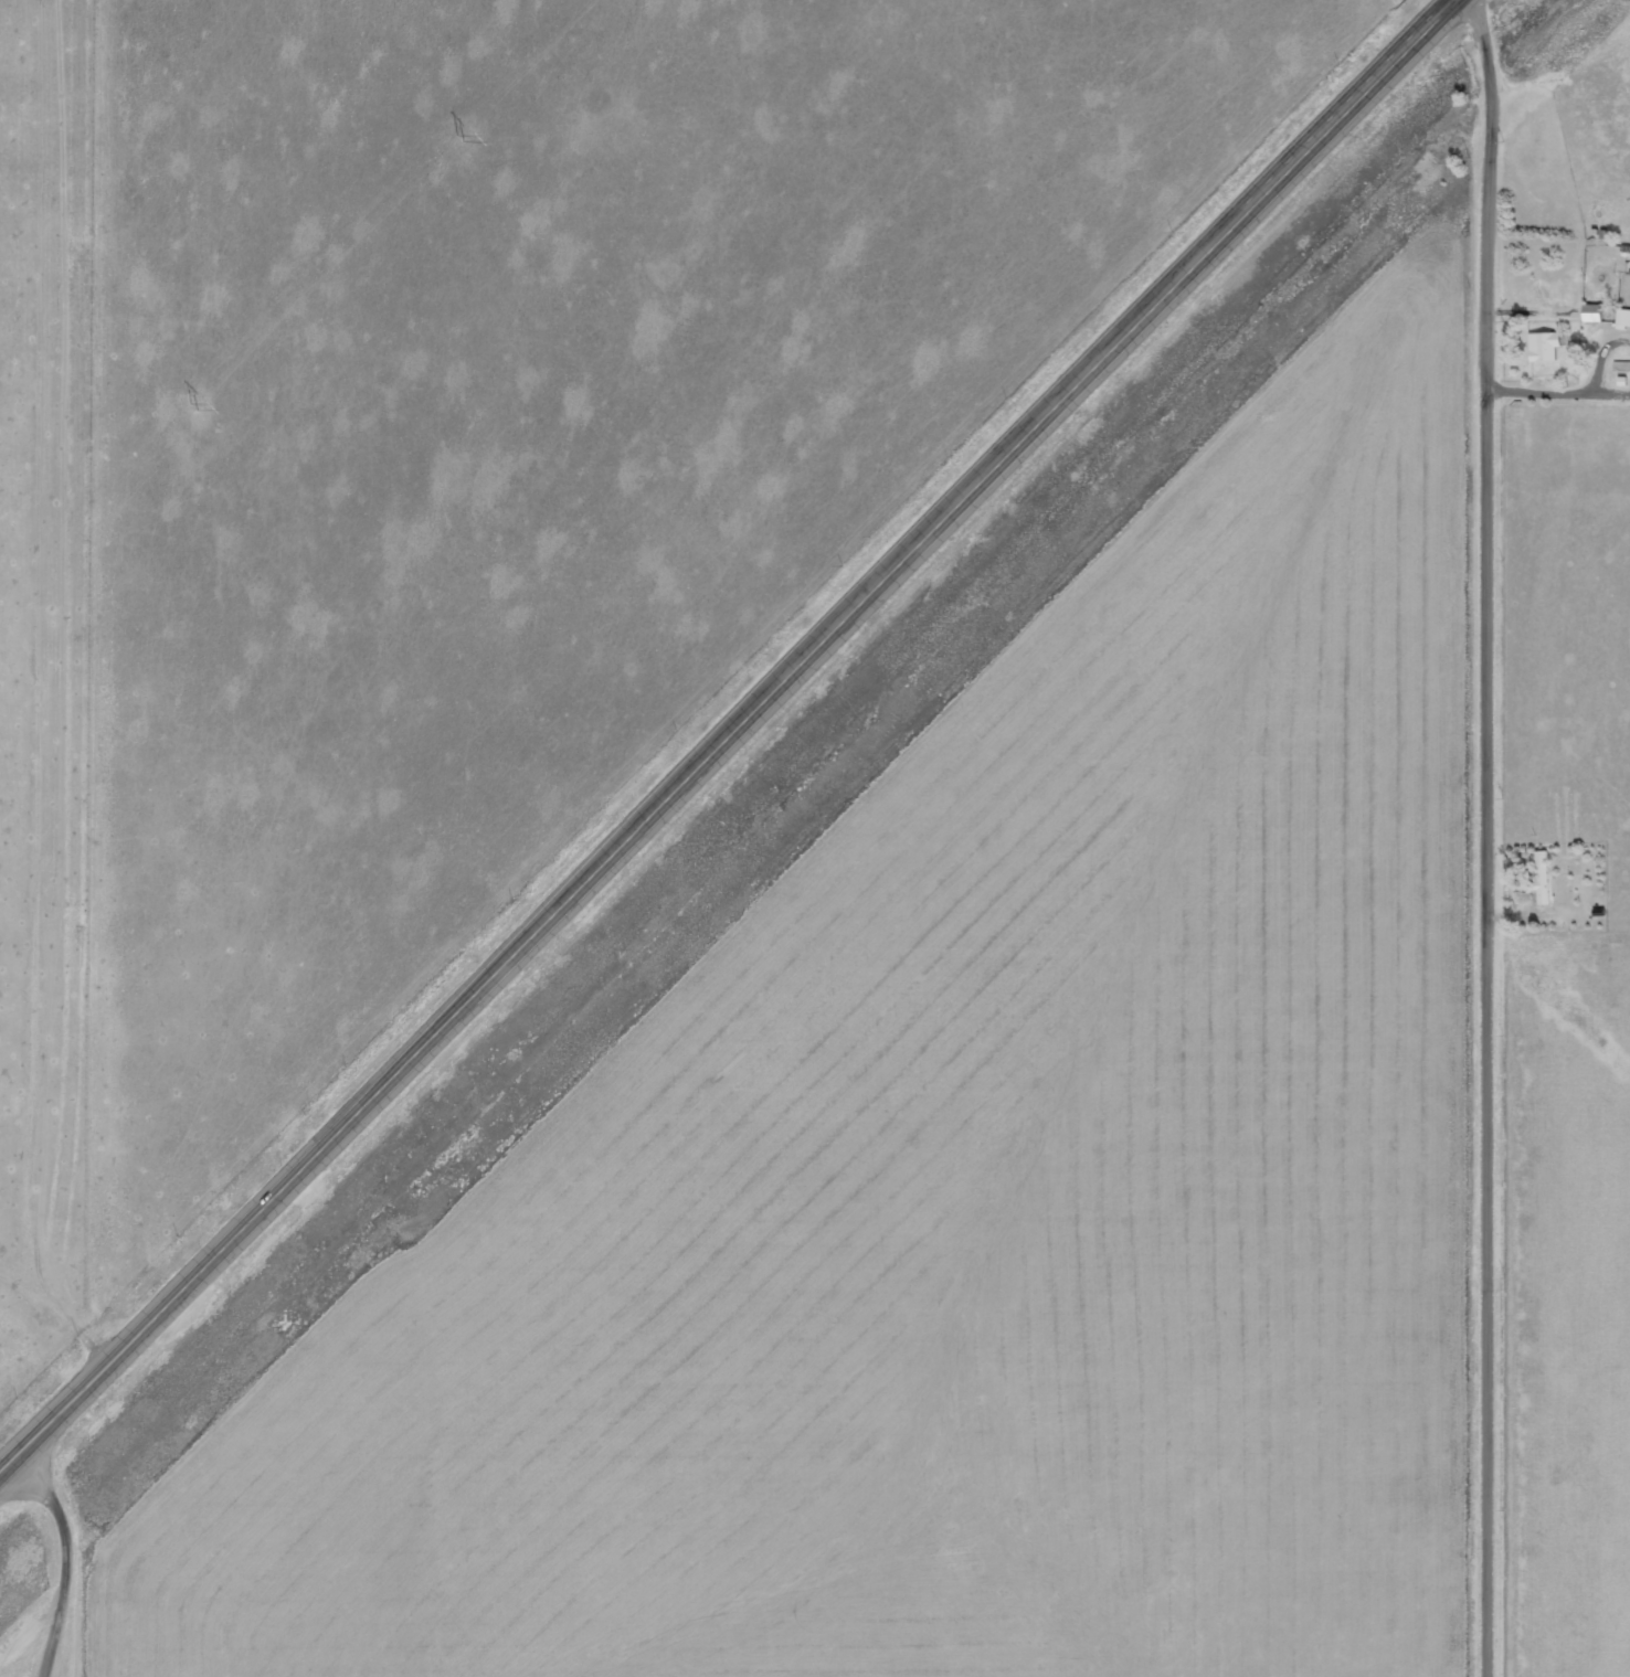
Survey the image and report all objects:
power tower: (458, 138)
building: (1589, 312)
building: (1622, 317)
building: (1542, 346)
power tower: (192, 407)
road: (728, 735)
road: (1492, 838)
building: (1545, 877)

